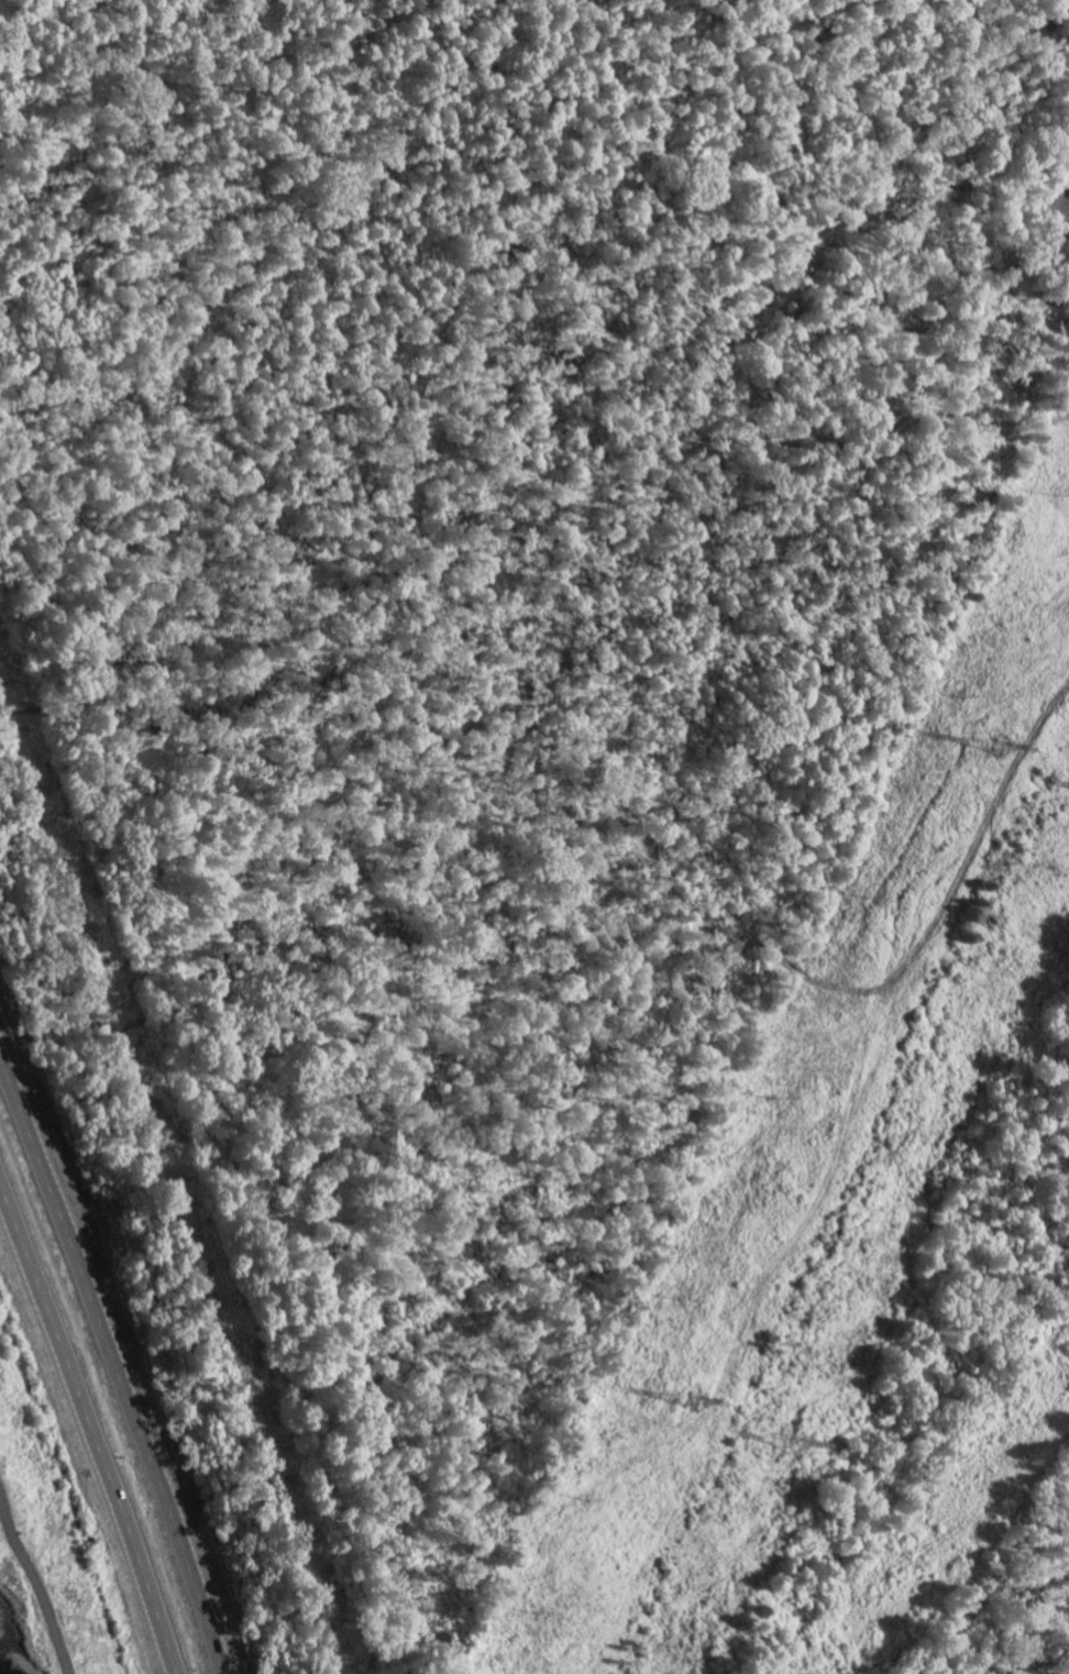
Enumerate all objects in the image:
road: (179, 1174)
road: (113, 1365)
road: (91, 1434)
power tower: (790, 1445)

